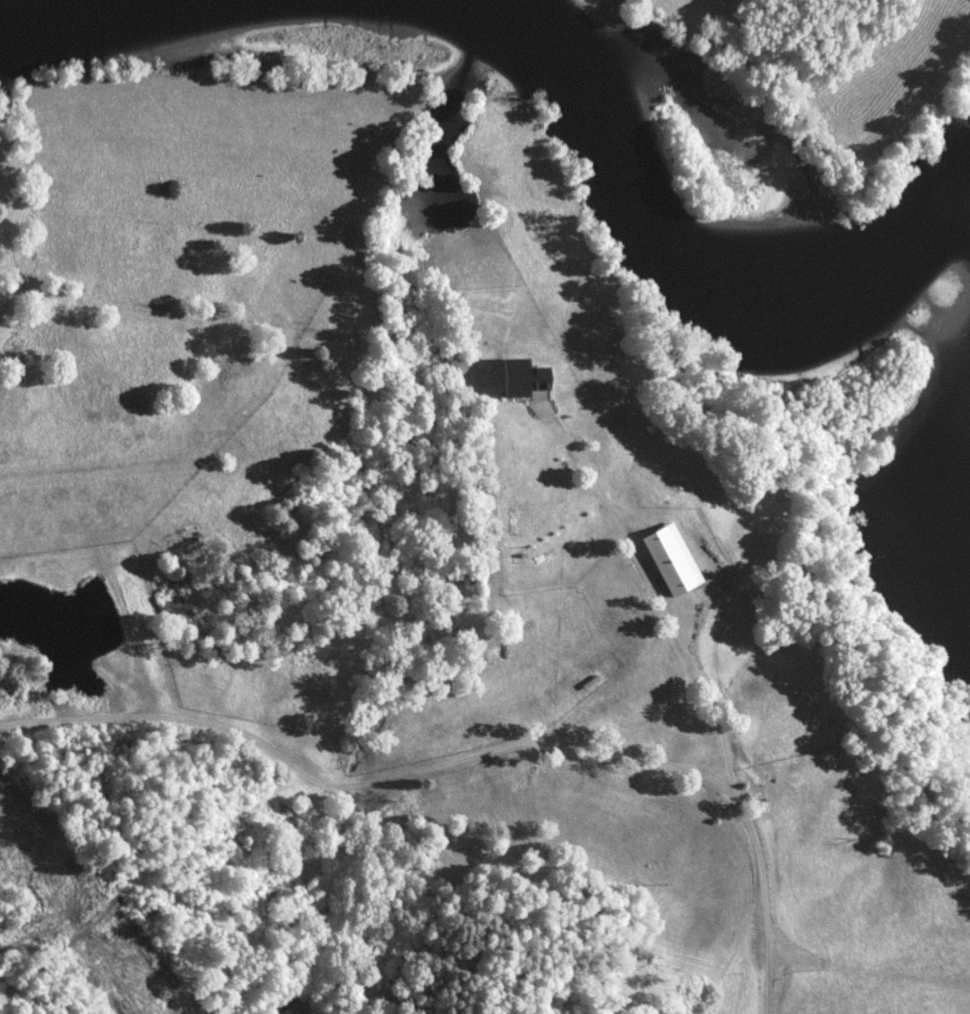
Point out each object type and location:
river: (19, 5)
river: (676, 238)
building: (522, 378)
road: (710, 693)

